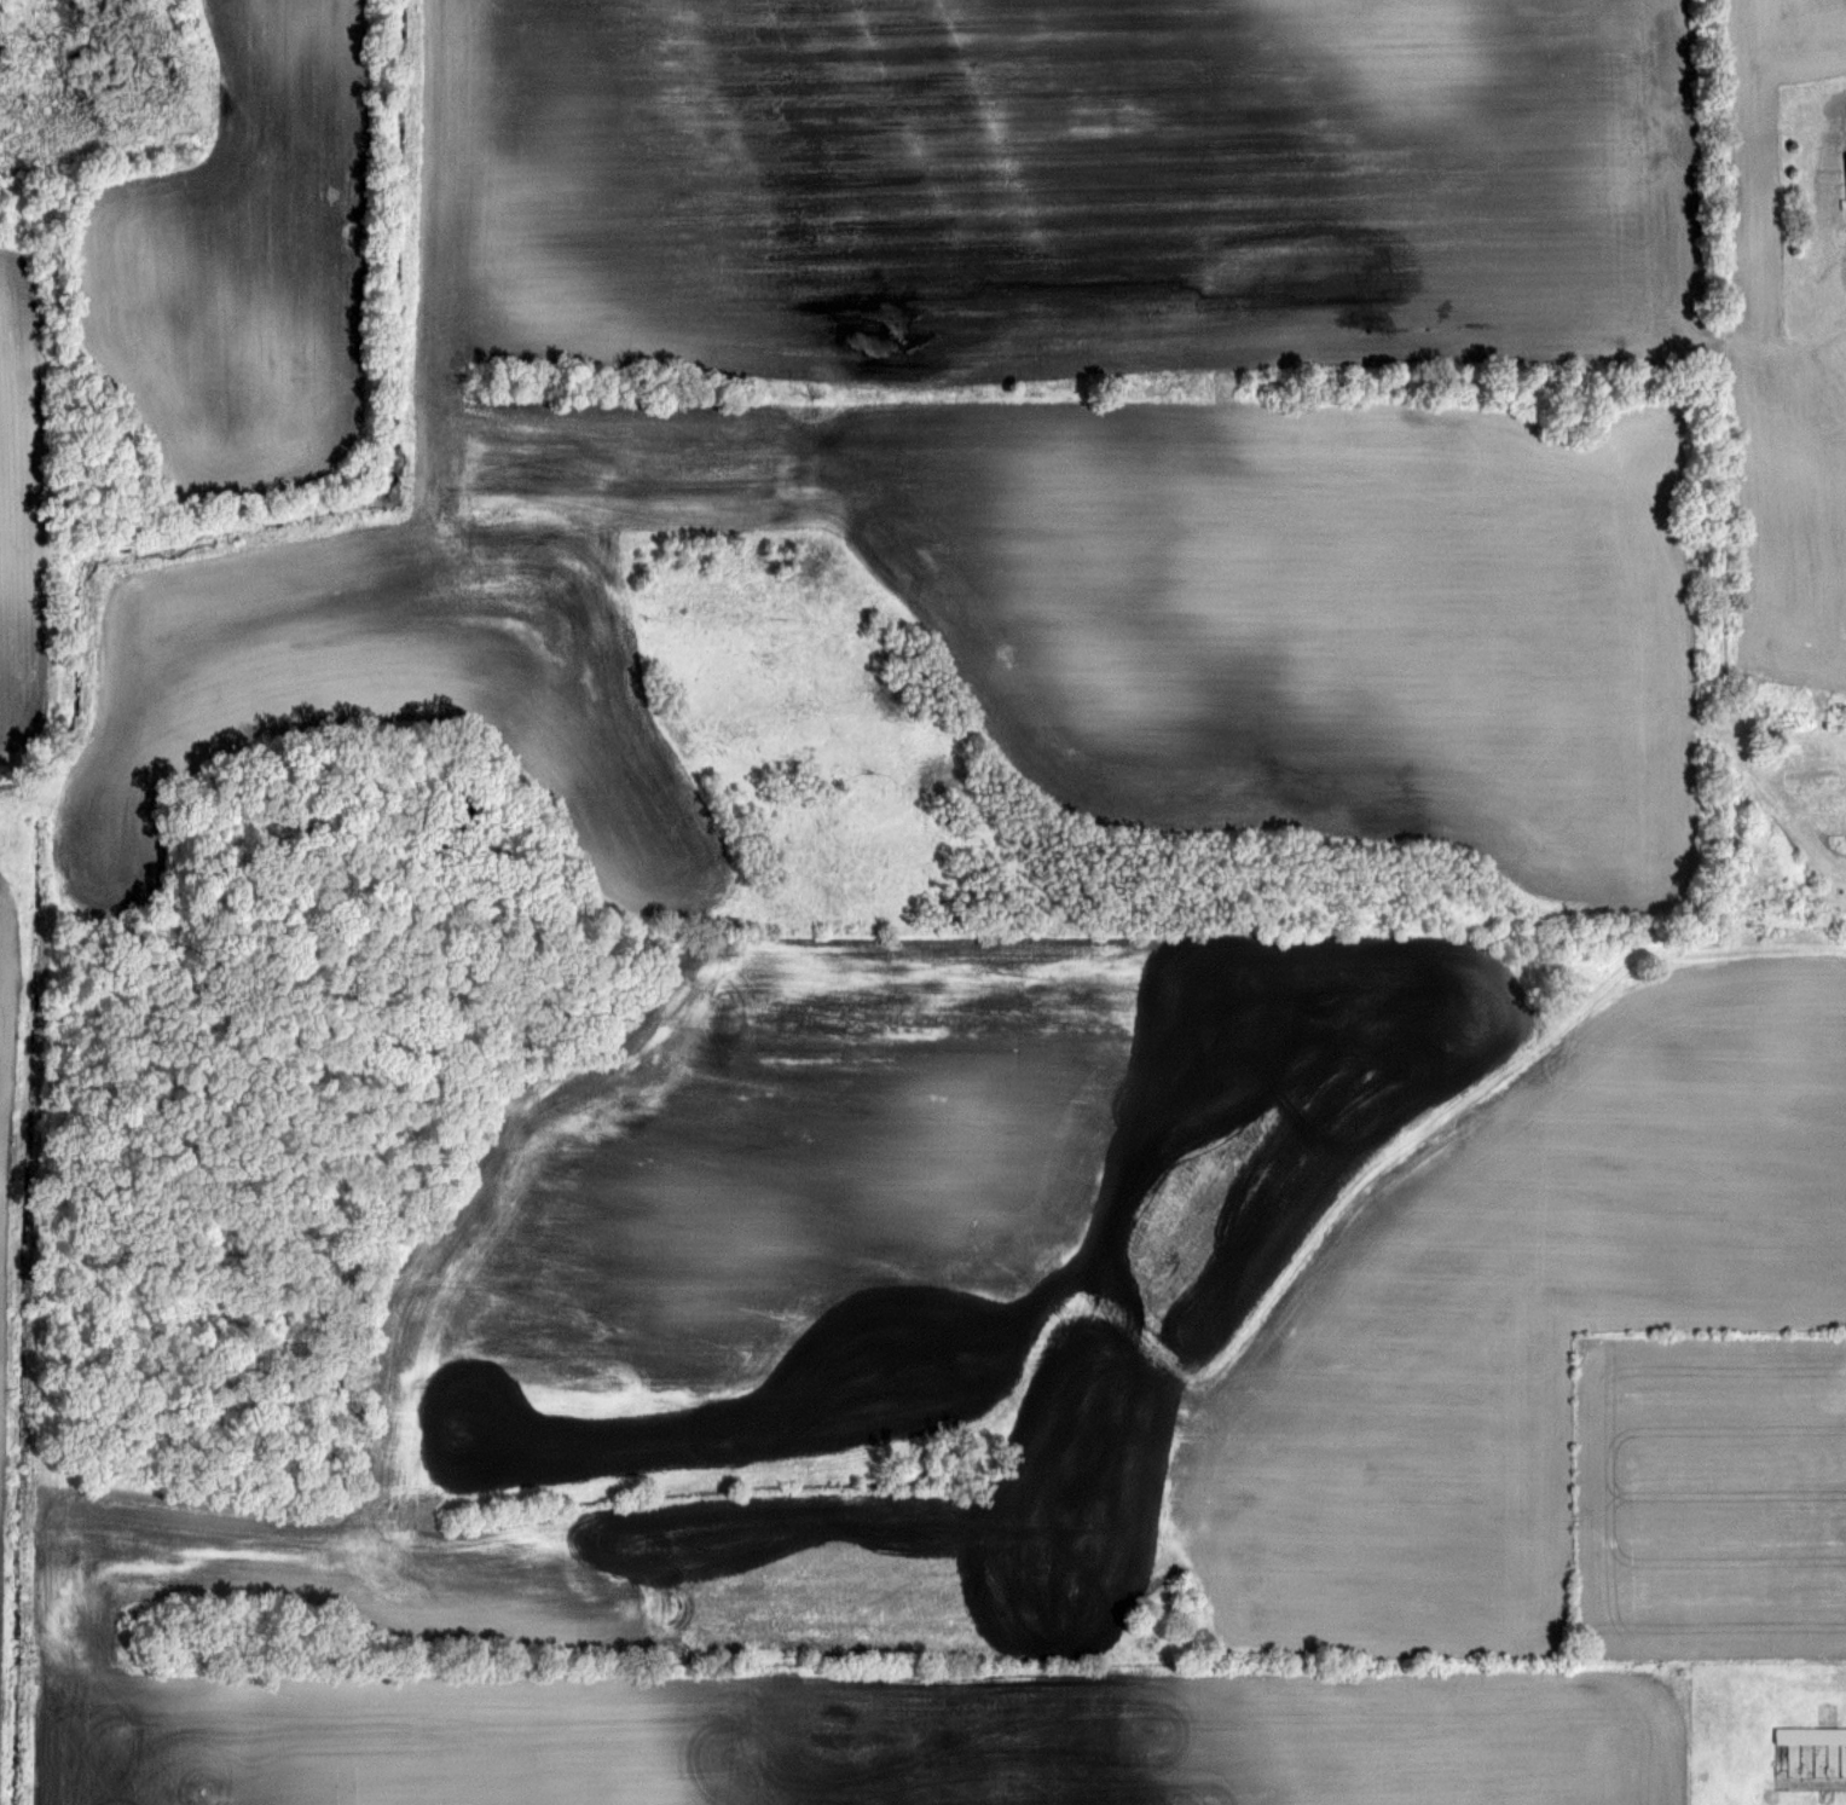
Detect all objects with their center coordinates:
building: (1810, 1736)

